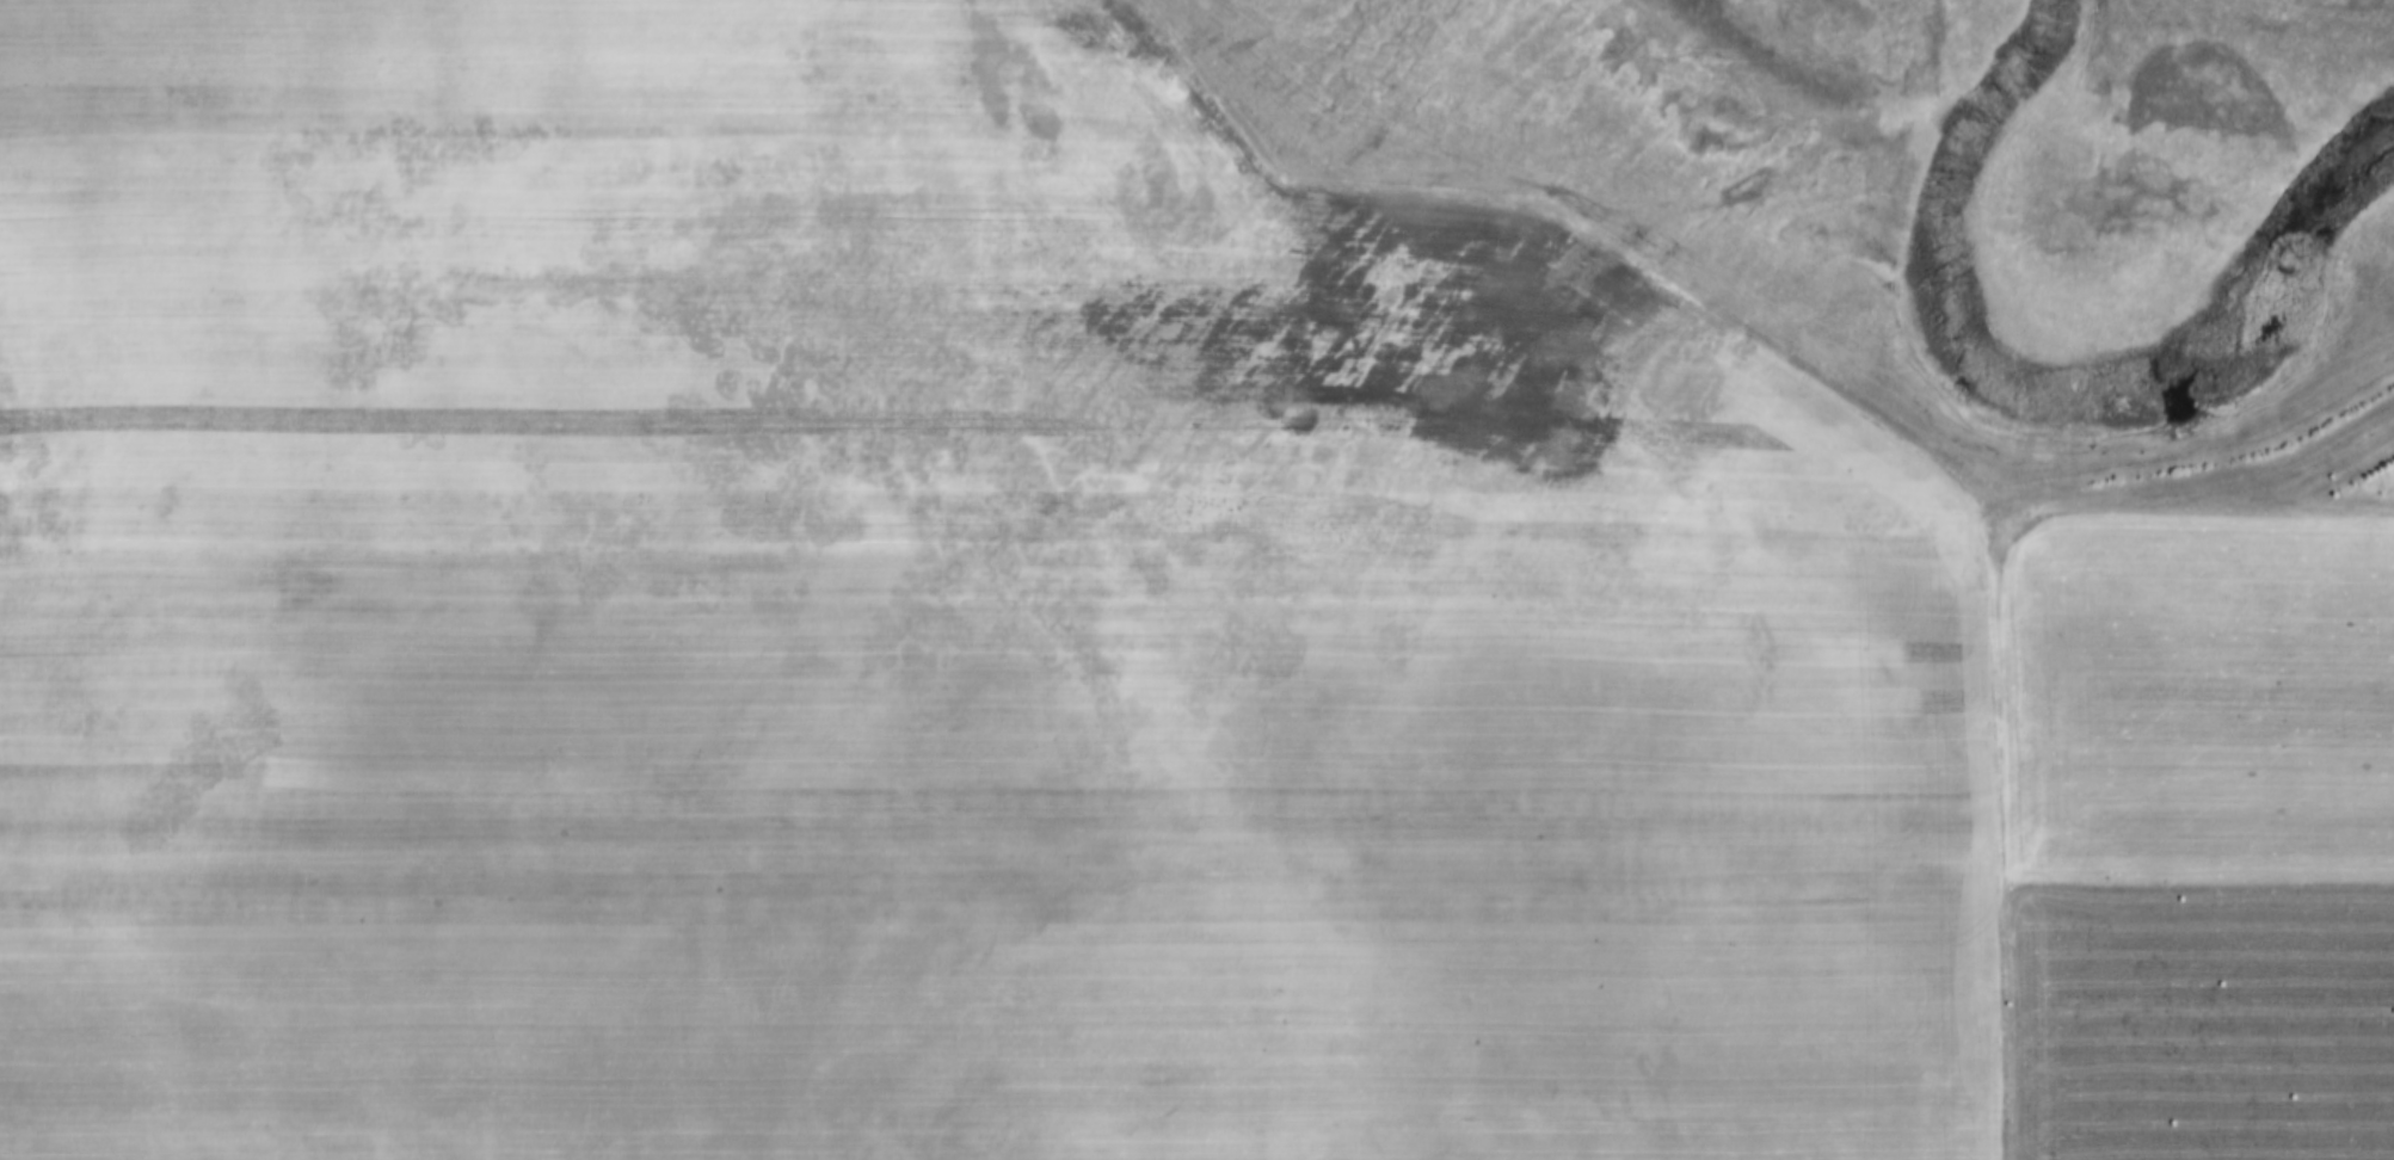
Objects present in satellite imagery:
road: (1992, 643)

